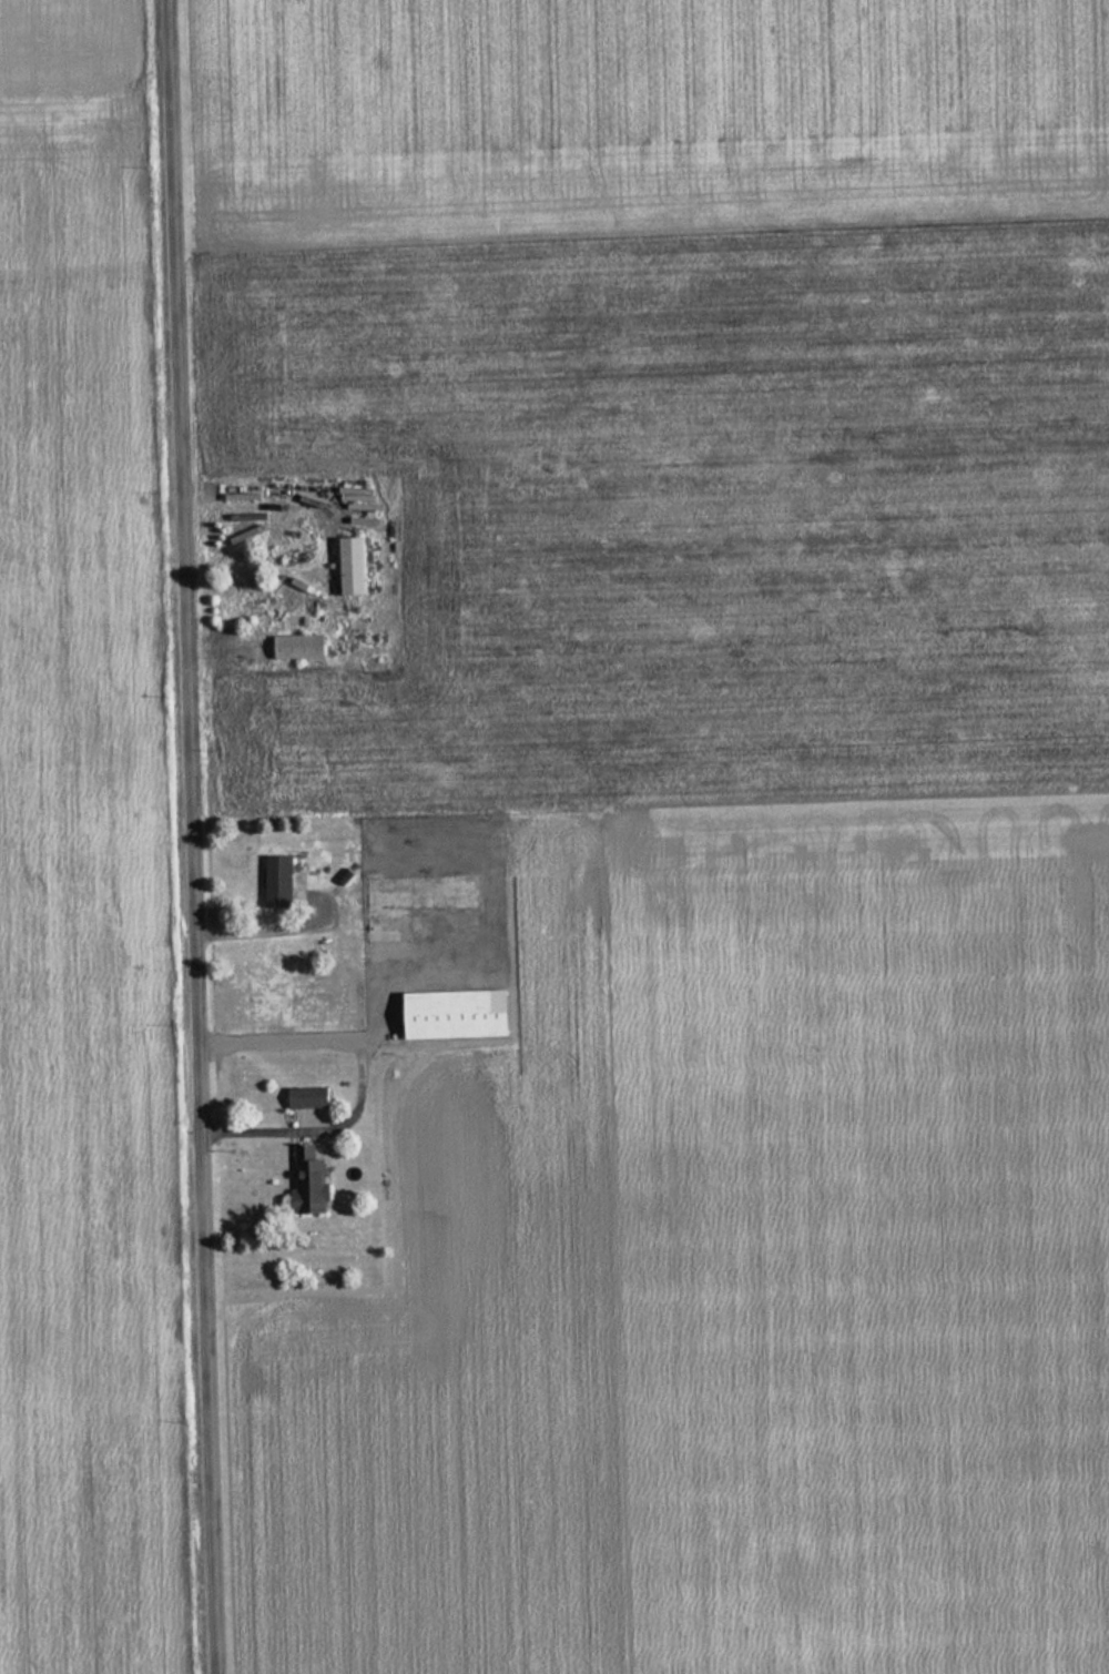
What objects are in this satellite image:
crop: (67, 45)
crop: (645, 114)
building: (350, 566)
building: (297, 647)
road: (185, 836)
building: (278, 881)
crop: (80, 923)
crop: (715, 950)
building: (455, 1014)
road: (357, 1076)
building: (306, 1097)
building: (307, 1181)

